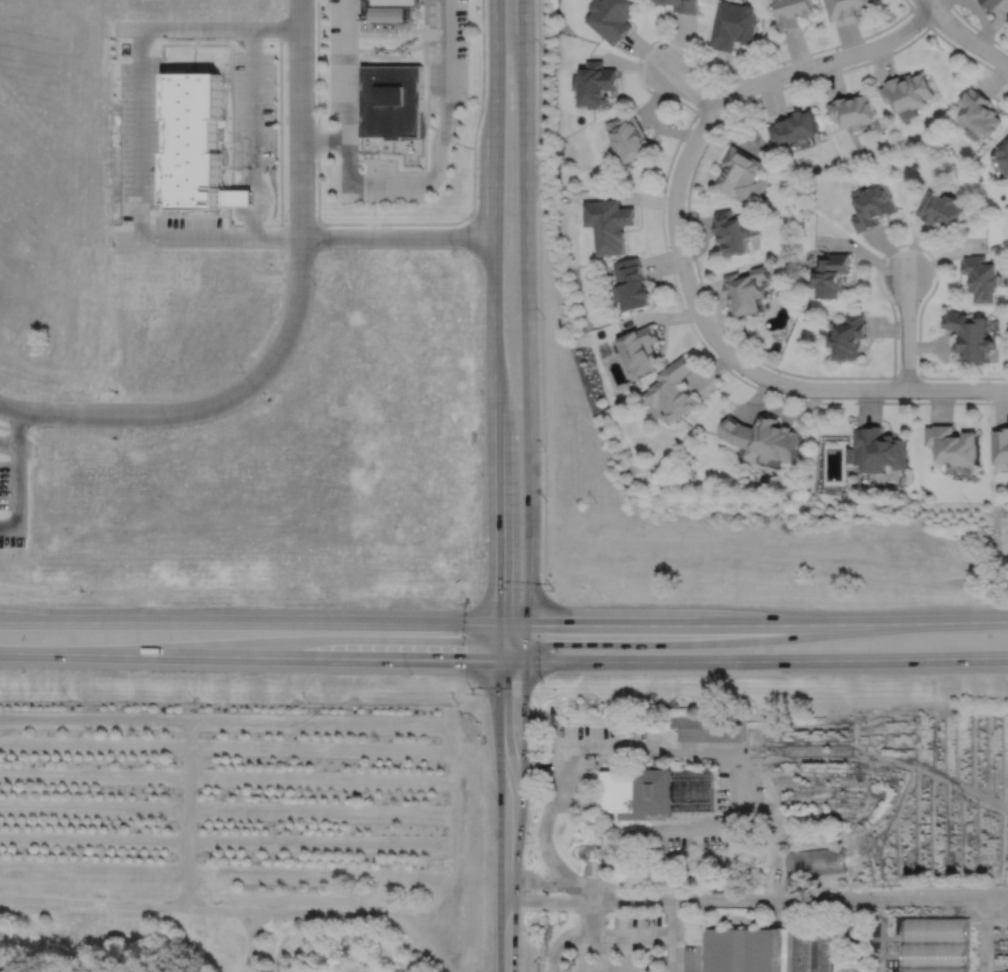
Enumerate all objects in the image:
road: (908, 4)
building: (992, 4)
building: (681, 6)
building: (849, 8)
building: (387, 10)
building: (793, 14)
building: (613, 17)
building: (734, 26)
street lamp: (327, 27)
road: (207, 28)
road: (974, 28)
road: (963, 37)
street lamp: (468, 41)
street lamp: (265, 46)
road: (645, 46)
street lamp: (542, 50)
parking lot: (446, 54)
street lamp: (314, 55)
street lamp: (126, 58)
street lamp: (166, 58)
road: (823, 62)
street lamp: (228, 80)
street lamp: (274, 82)
building: (596, 82)
parking lot: (343, 86)
road: (425, 88)
road: (690, 90)
building: (907, 90)
street lamp: (468, 97)
road: (253, 98)
street lamp: (126, 100)
building: (391, 100)
street lamp: (327, 101)
building: (852, 109)
parking lot: (253, 110)
building: (979, 111)
street lamp: (228, 116)
road: (301, 118)
street lamp: (274, 120)
building: (793, 126)
road: (139, 132)
road: (281, 135)
building: (628, 135)
road: (325, 139)
street lamp: (126, 141)
building: (192, 141)
street lamp: (228, 148)
street lamp: (274, 151)
building: (1003, 155)
street lamp: (390, 160)
parking lot: (151, 163)
building: (739, 172)
street lamp: (446, 176)
street lamp: (476, 178)
street lamp: (126, 182)
street lamp: (326, 183)
road: (390, 183)
road: (494, 185)
road: (240, 195)
building: (236, 196)
road: (260, 196)
building: (871, 204)
building: (941, 208)
street lamp: (165, 211)
street lamp: (286, 214)
street lamp: (126, 222)
road: (391, 223)
road: (299, 224)
building: (612, 225)
road: (253, 231)
building: (730, 231)
road: (206, 237)
road: (397, 237)
street lamp: (455, 248)
street lamp: (329, 249)
road: (666, 256)
building: (830, 274)
building: (983, 277)
street lamp: (314, 284)
building: (631, 284)
building: (745, 290)
road: (540, 304)
road: (525, 312)
street lamp: (544, 316)
road: (906, 331)
building: (971, 335)
building: (848, 336)
road: (732, 340)
building: (639, 349)
road: (737, 361)
street lamp: (242, 371)
road: (905, 377)
building: (669, 390)
street lamp: (481, 393)
street lamp: (71, 399)
road: (494, 401)
road: (208, 406)
street lamp: (171, 427)
building: (762, 439)
building: (954, 445)
building: (1000, 445)
road: (8, 447)
building: (879, 450)
road: (16, 476)
street lamp: (482, 476)
street lamp: (547, 500)
road: (495, 528)
street lamp: (483, 557)
street lamp: (553, 589)
traffic signals: (495, 597)
street lamp: (600, 597)
street lamp: (466, 600)
road: (922, 622)
road: (248, 623)
road: (511, 625)
traffic signals: (546, 625)
road: (613, 625)
road: (768, 626)
road: (496, 642)
road: (525, 642)
road: (131, 654)
road: (379, 657)
traffic signals: (466, 659)
road: (510, 660)
road: (766, 661)
street lamp: (413, 677)
traffic signals: (523, 681)
street lamp: (543, 683)
street lamp: (473, 695)
road: (191, 721)
road: (522, 722)
road: (426, 723)
road: (183, 724)
building: (711, 727)
road: (580, 747)
road: (732, 747)
building: (654, 792)
road: (499, 816)
road: (548, 855)
building: (813, 864)
road: (515, 878)
road: (557, 883)
road: (809, 899)
road: (554, 902)
road: (235, 909)
road: (591, 911)
road: (674, 916)
road: (620, 933)
parking lot: (618, 945)
building: (936, 945)
building: (738, 950)
building: (802, 950)

